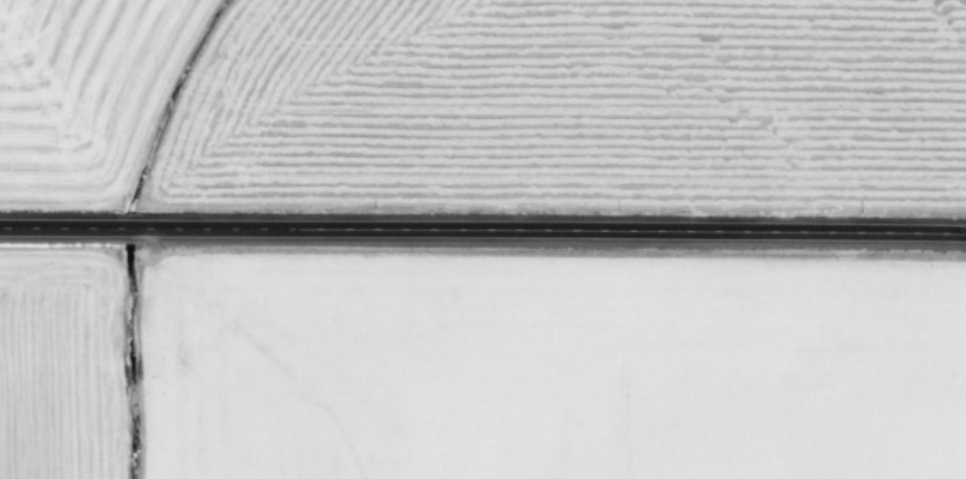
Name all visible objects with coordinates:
crop: (487, 94)
road: (483, 226)
crop: (480, 377)

